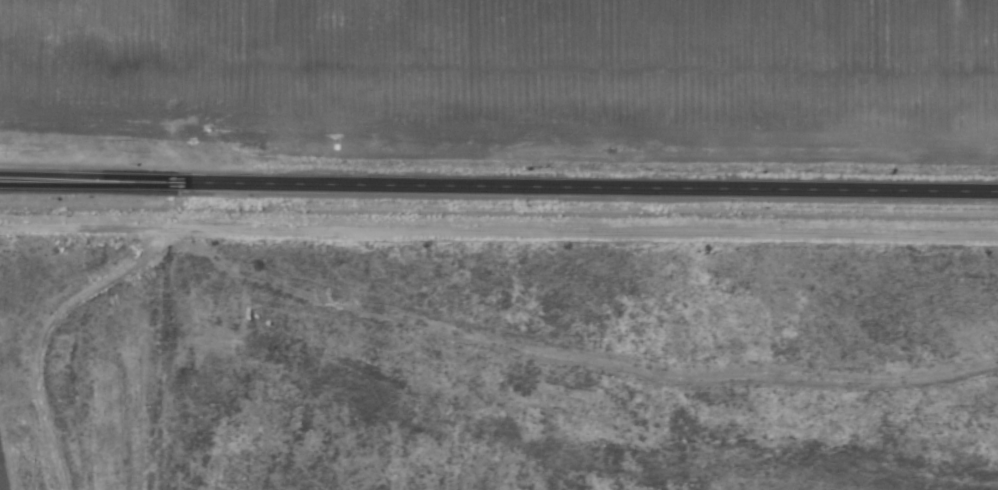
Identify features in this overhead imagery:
road: (499, 186)
crop: (495, 364)

